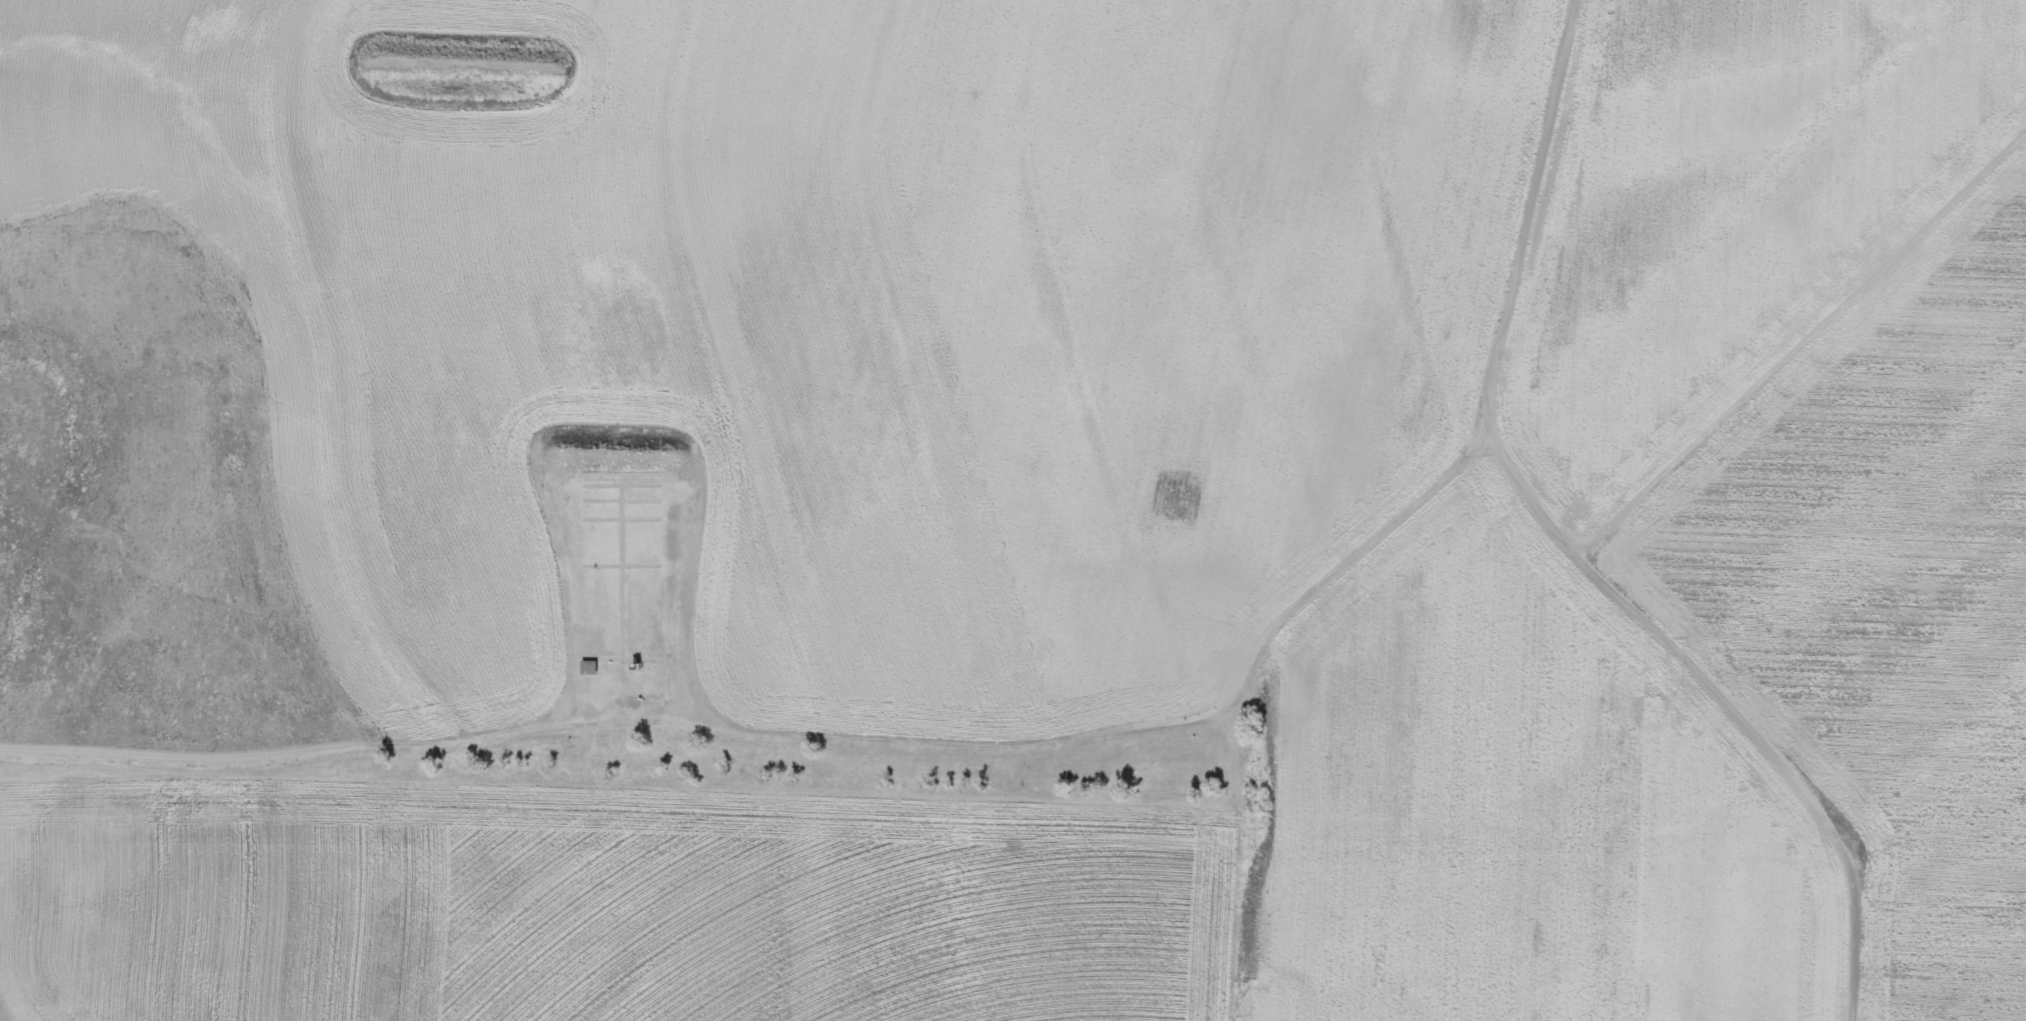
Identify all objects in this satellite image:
airport: (1777, 537)
building: (589, 668)

